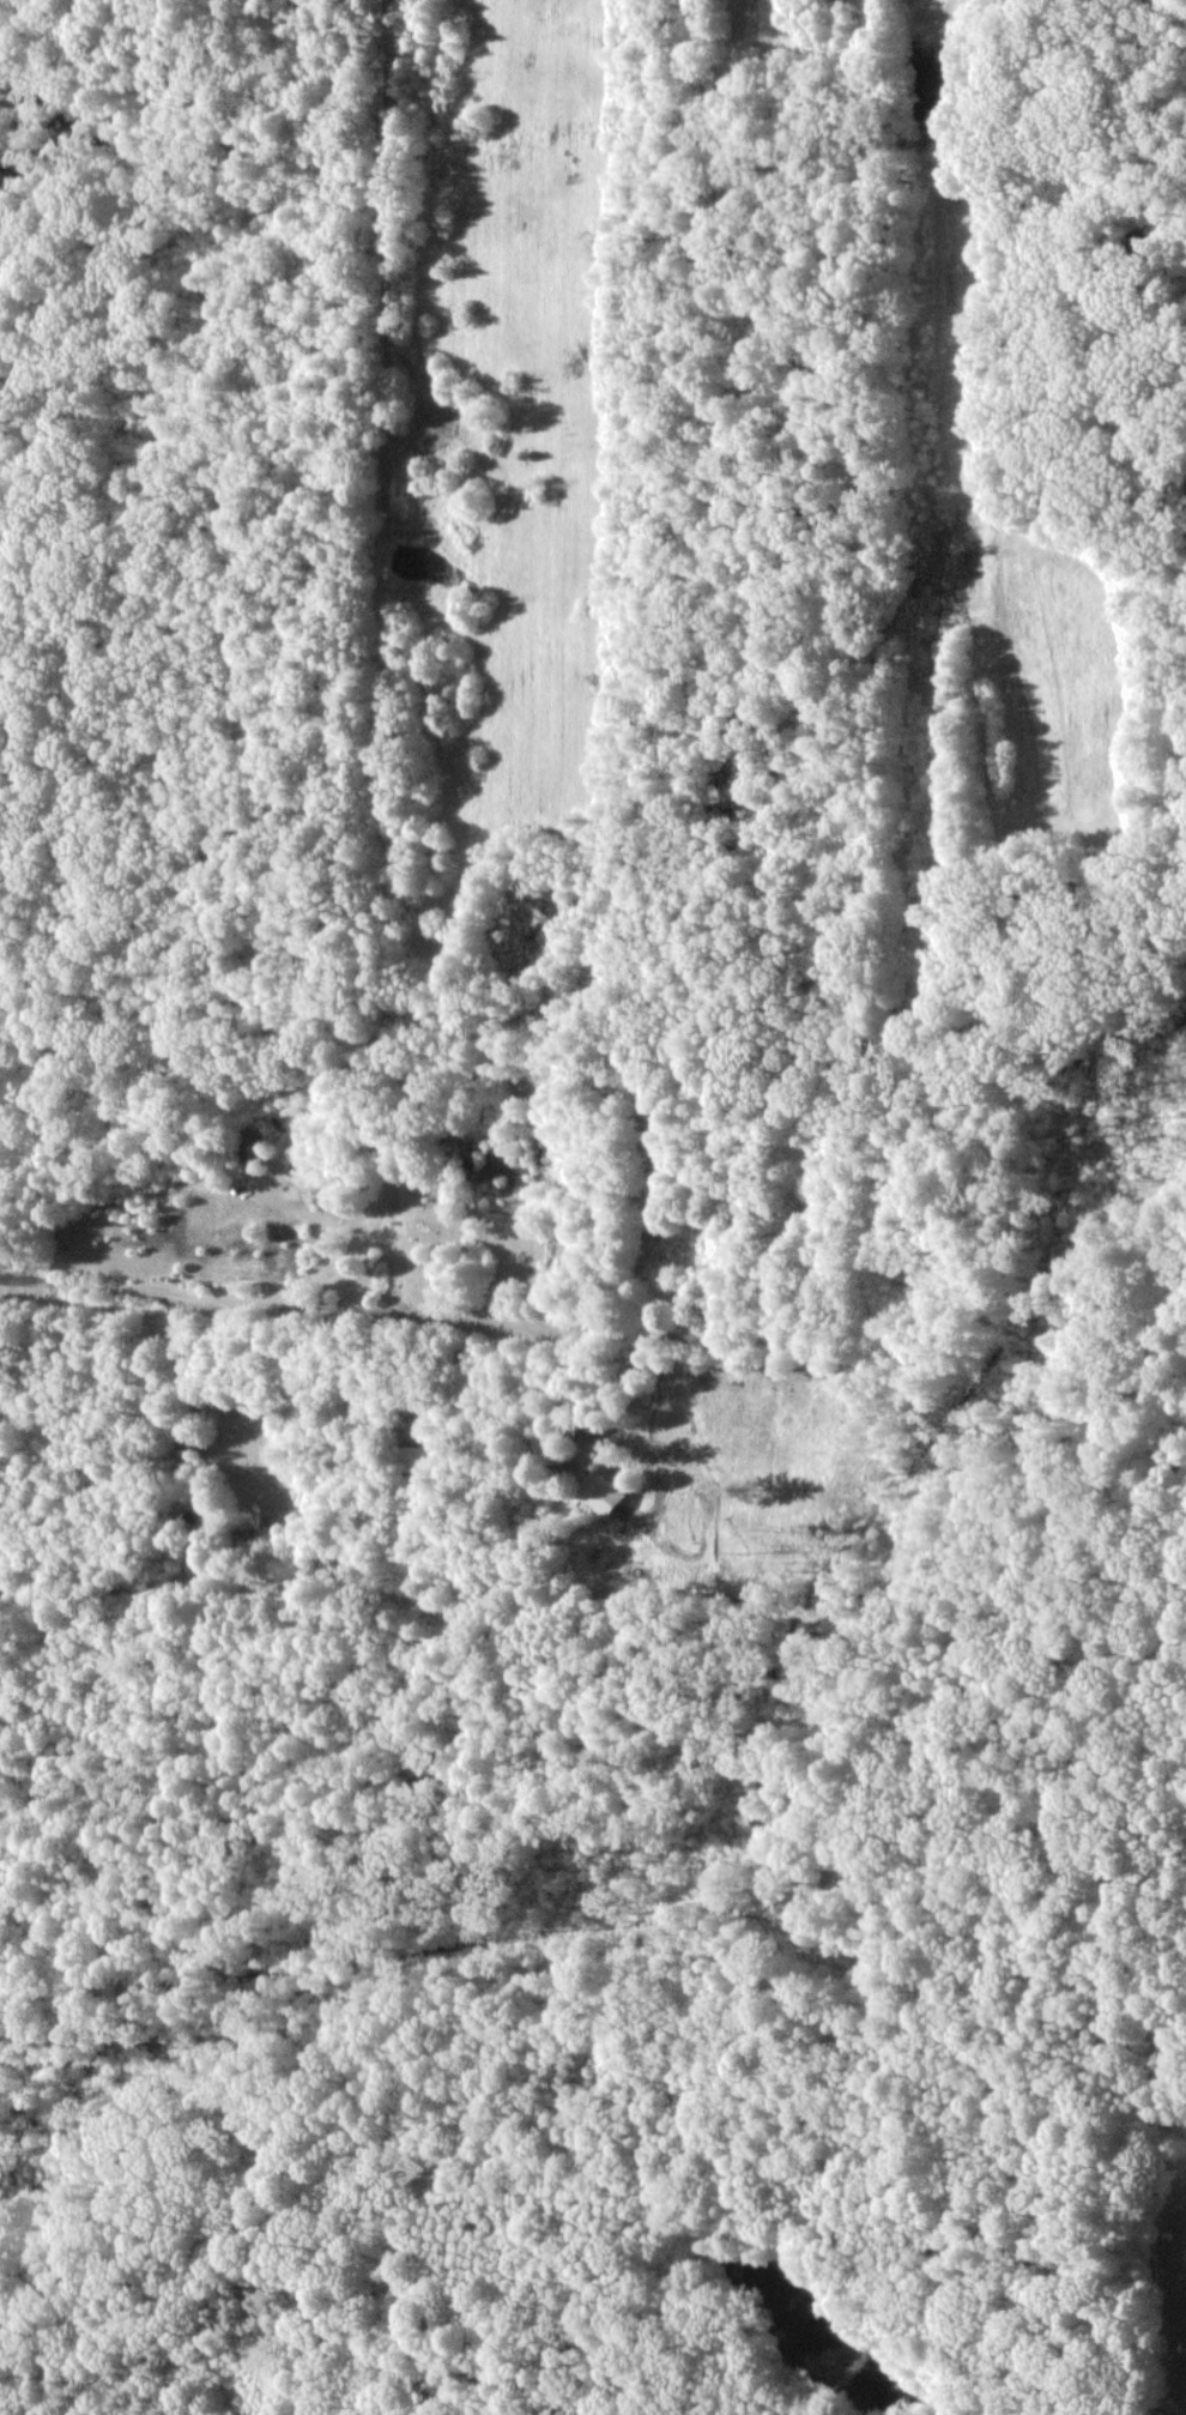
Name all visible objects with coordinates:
building: (255, 1142)
road: (244, 1296)
building: (603, 1492)

